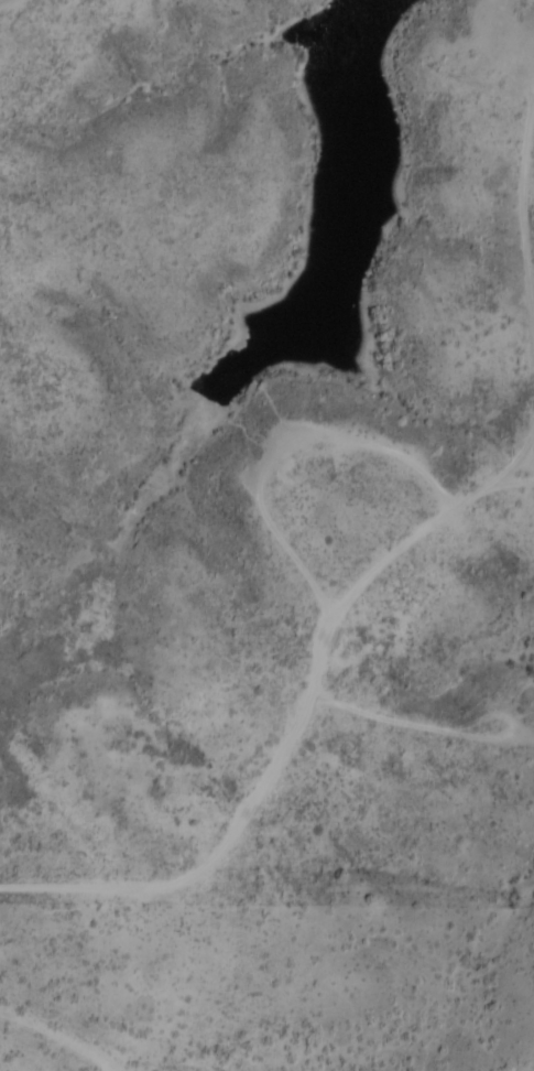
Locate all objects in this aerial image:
road: (54, 1037)

